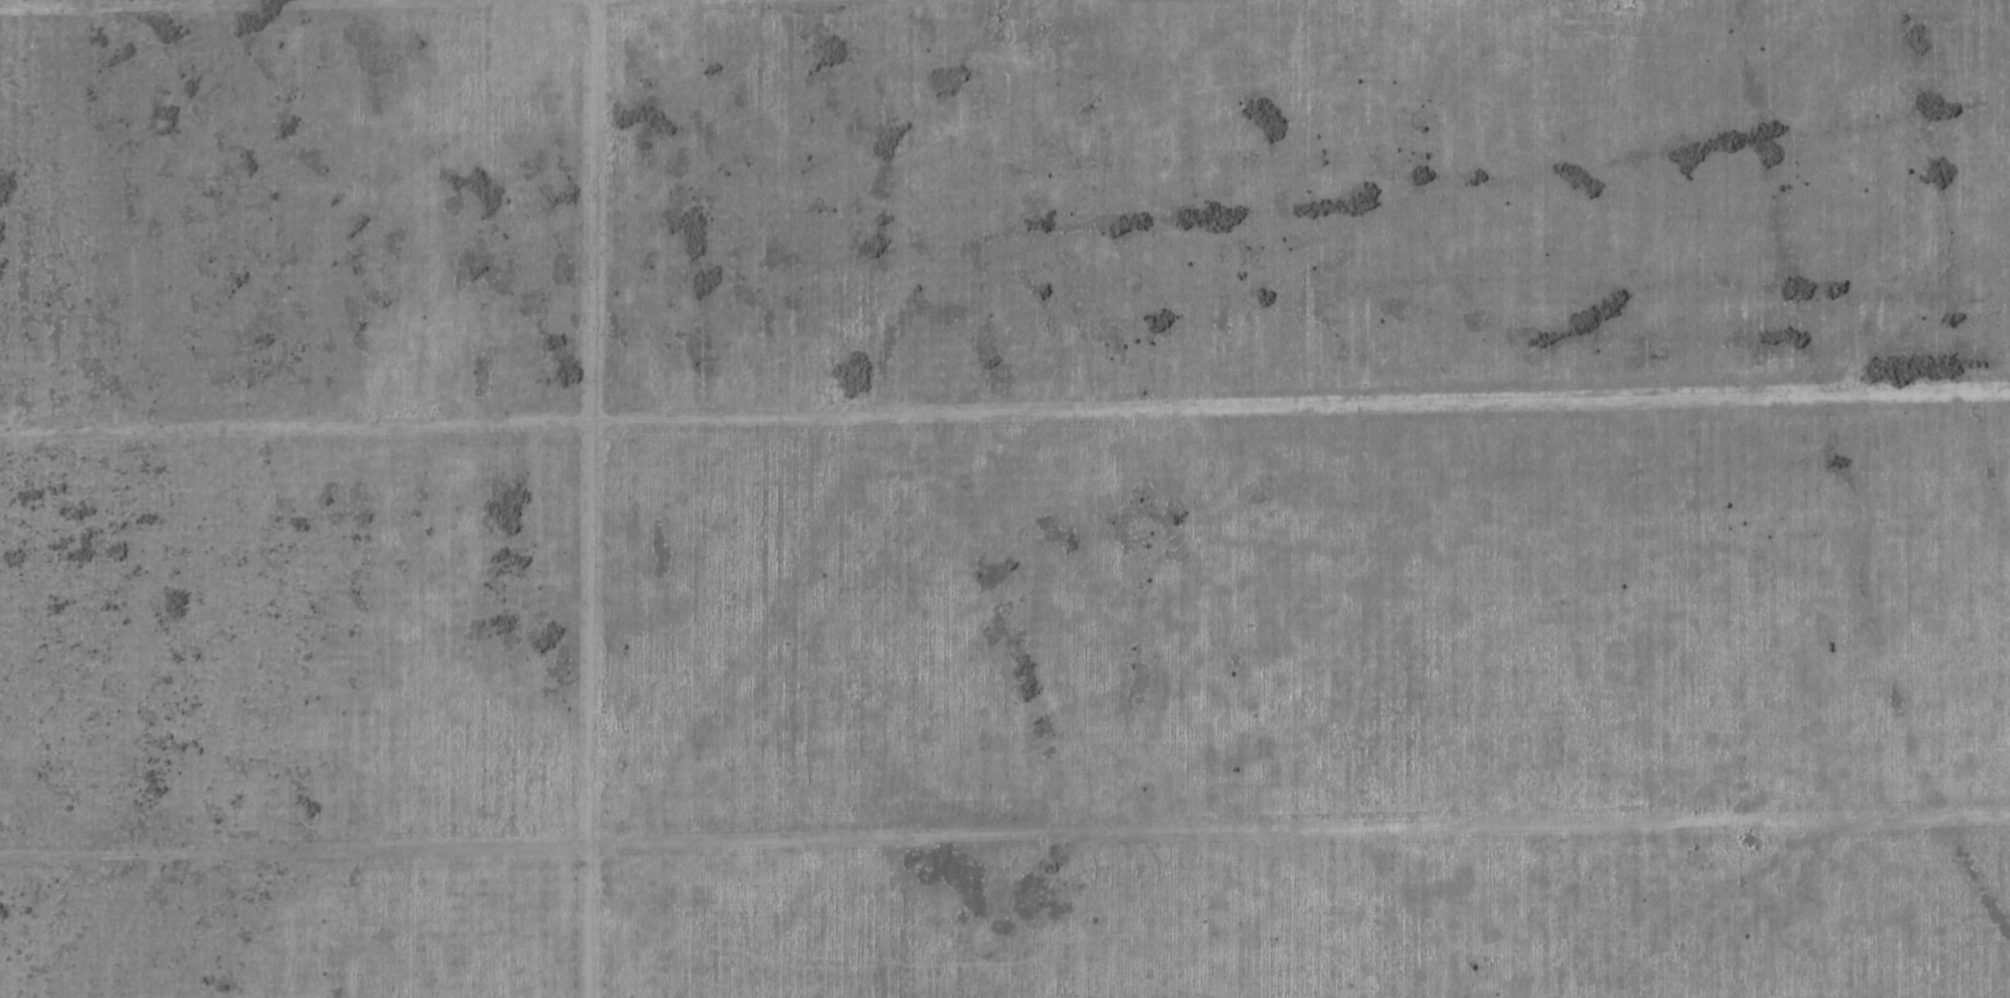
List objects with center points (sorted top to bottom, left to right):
road: (23, 954)

